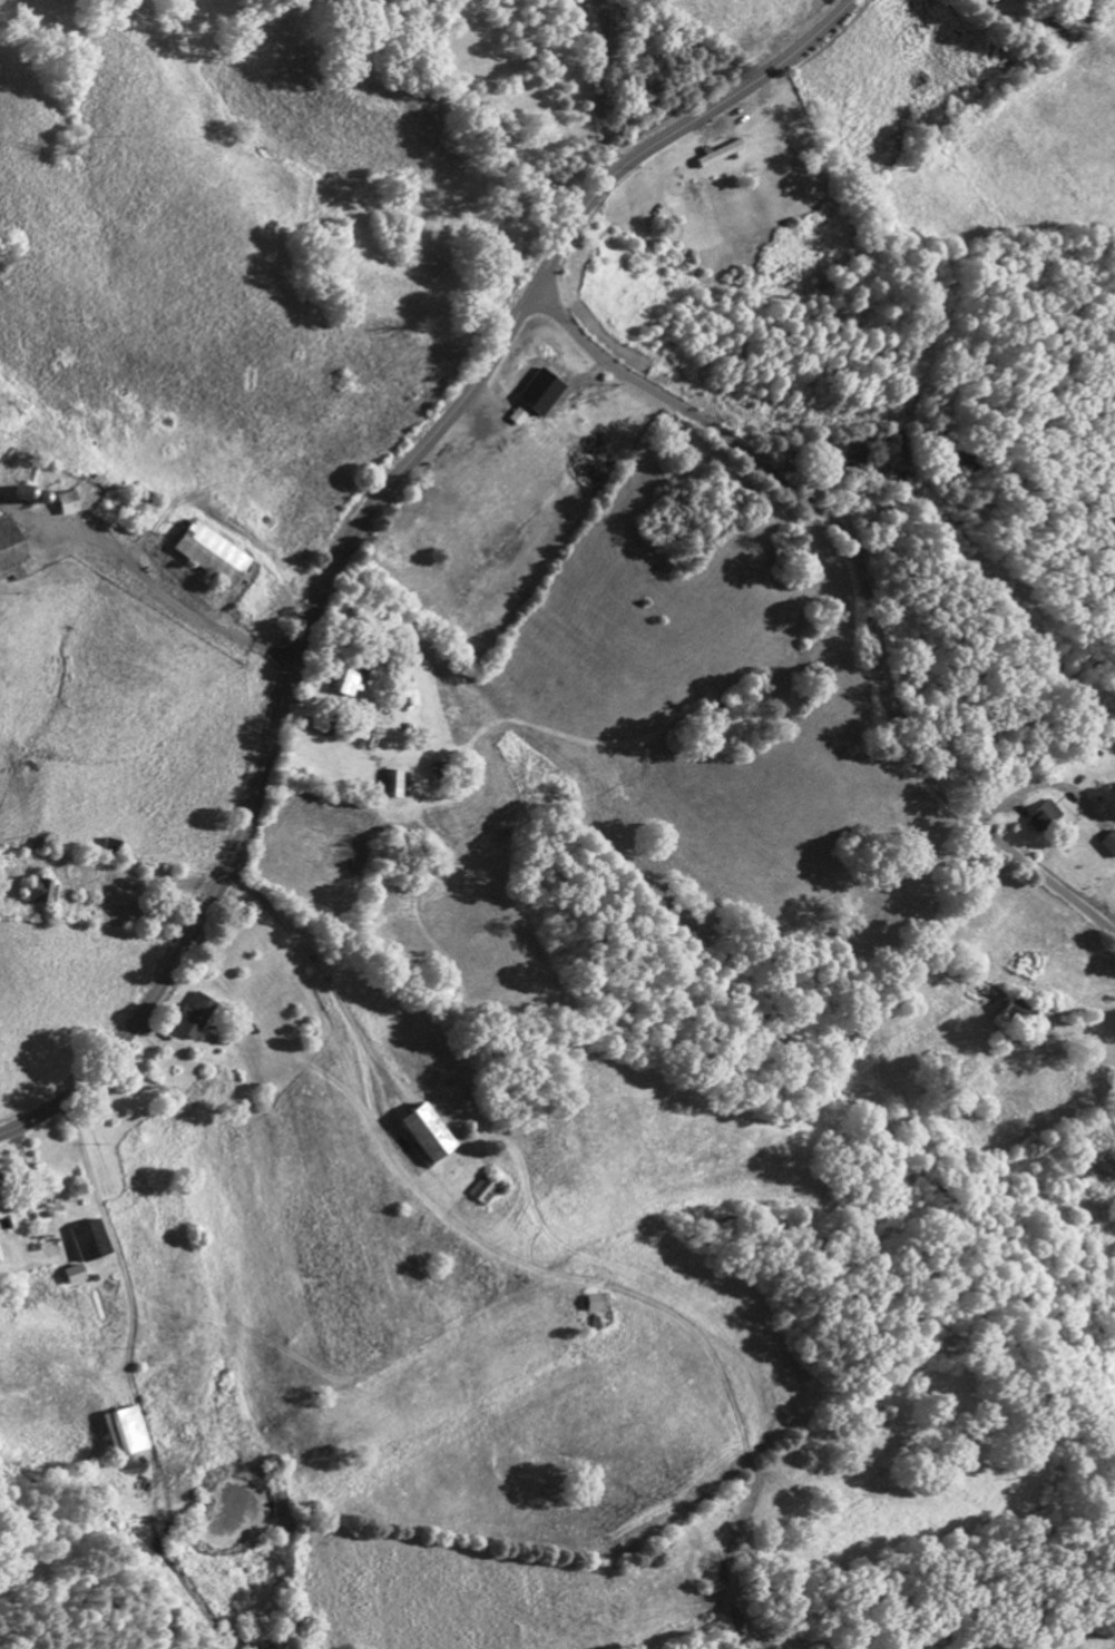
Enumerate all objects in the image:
road: (597, 88)
building: (527, 403)
building: (854, 458)
building: (66, 507)
road: (362, 524)
building: (10, 558)
building: (209, 558)
road: (863, 585)
road: (156, 598)
building: (345, 687)
building: (392, 788)
building: (1043, 819)
building: (1109, 845)
building: (40, 894)
building: (195, 1019)
building: (426, 1136)
building: (87, 1243)
building: (70, 1277)
building: (593, 1306)
building: (120, 1434)

